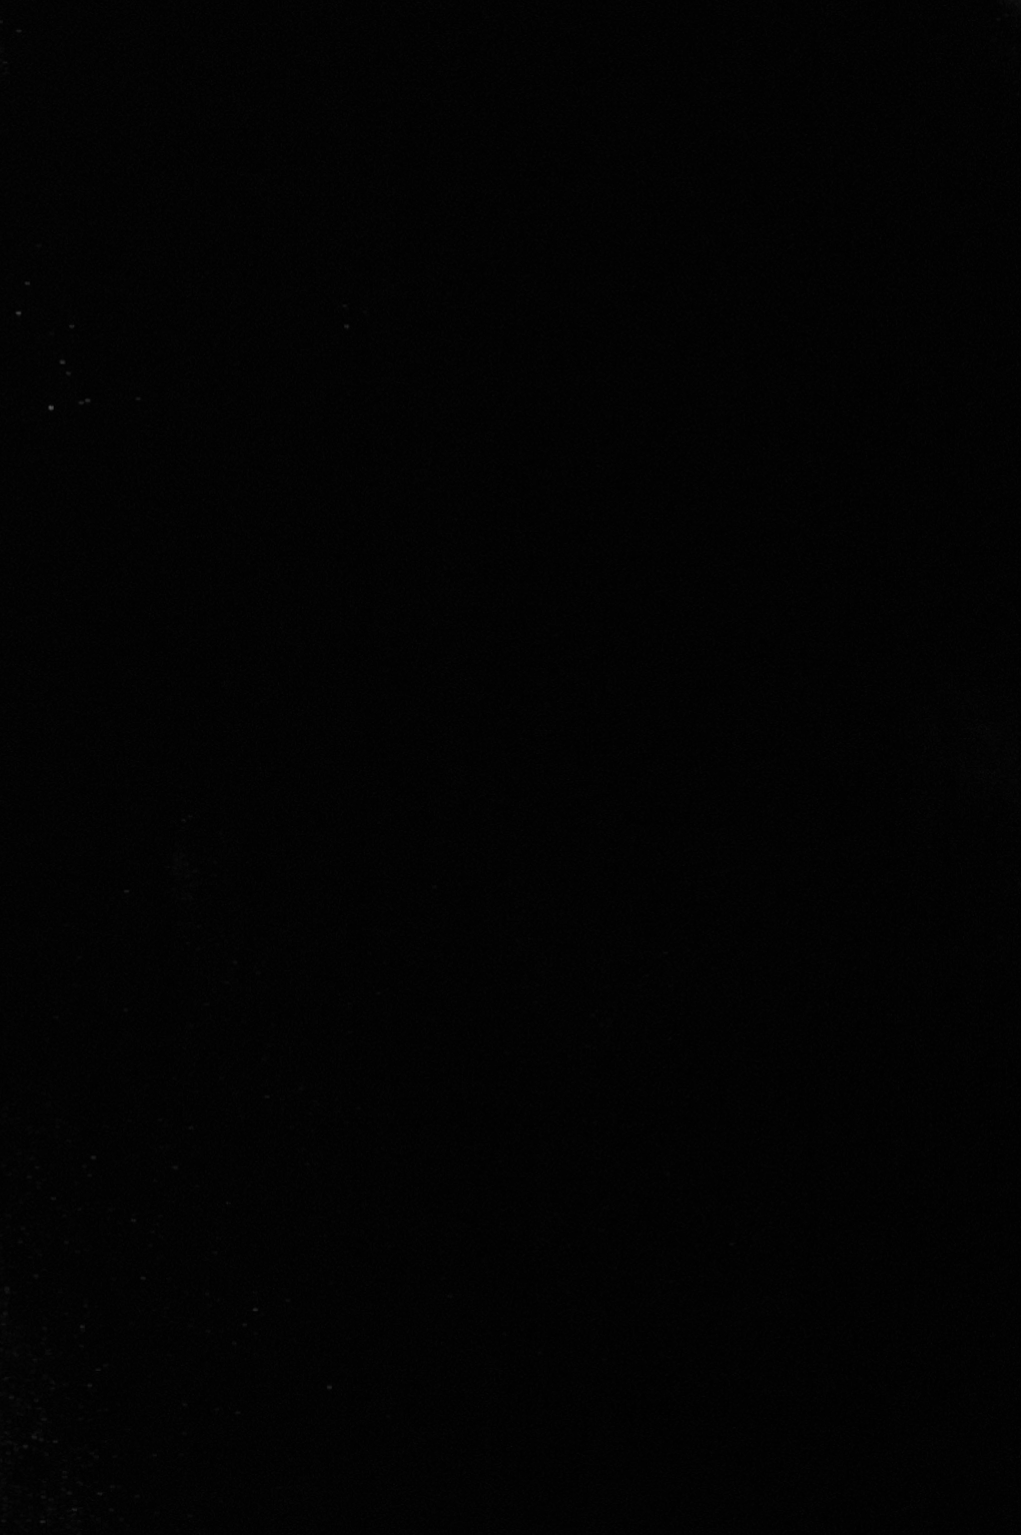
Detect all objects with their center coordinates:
river: (239, 830)

